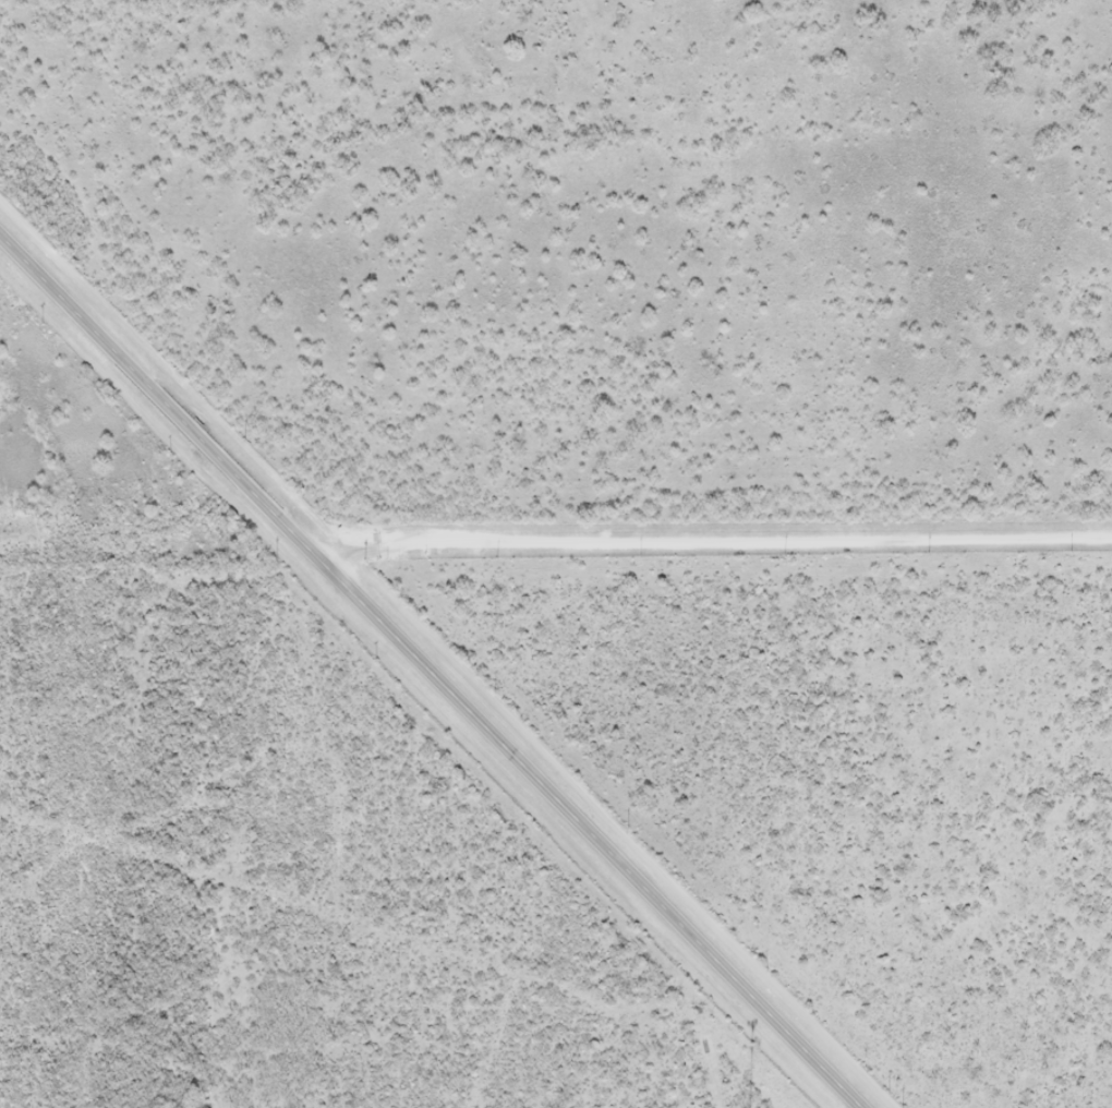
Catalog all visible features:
road: (724, 544)
road: (434, 677)
road: (760, 797)

